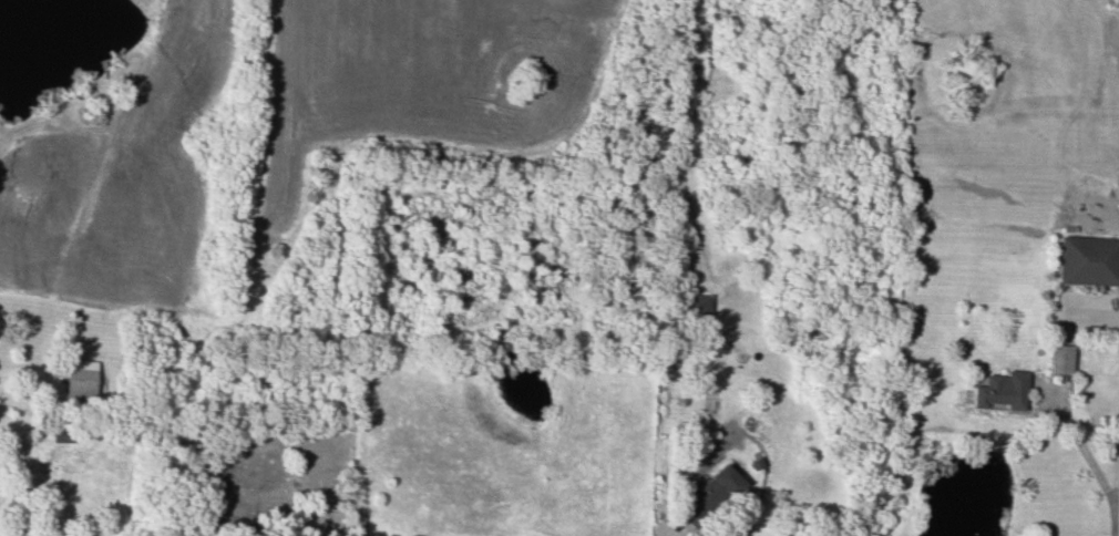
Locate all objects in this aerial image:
crop: (429, 81)
crop: (119, 185)
building: (1087, 259)
building: (696, 303)
building: (1058, 358)
building: (79, 378)
building: (999, 390)
building: (60, 435)
road: (1085, 455)
road: (1116, 470)
building: (708, 495)

